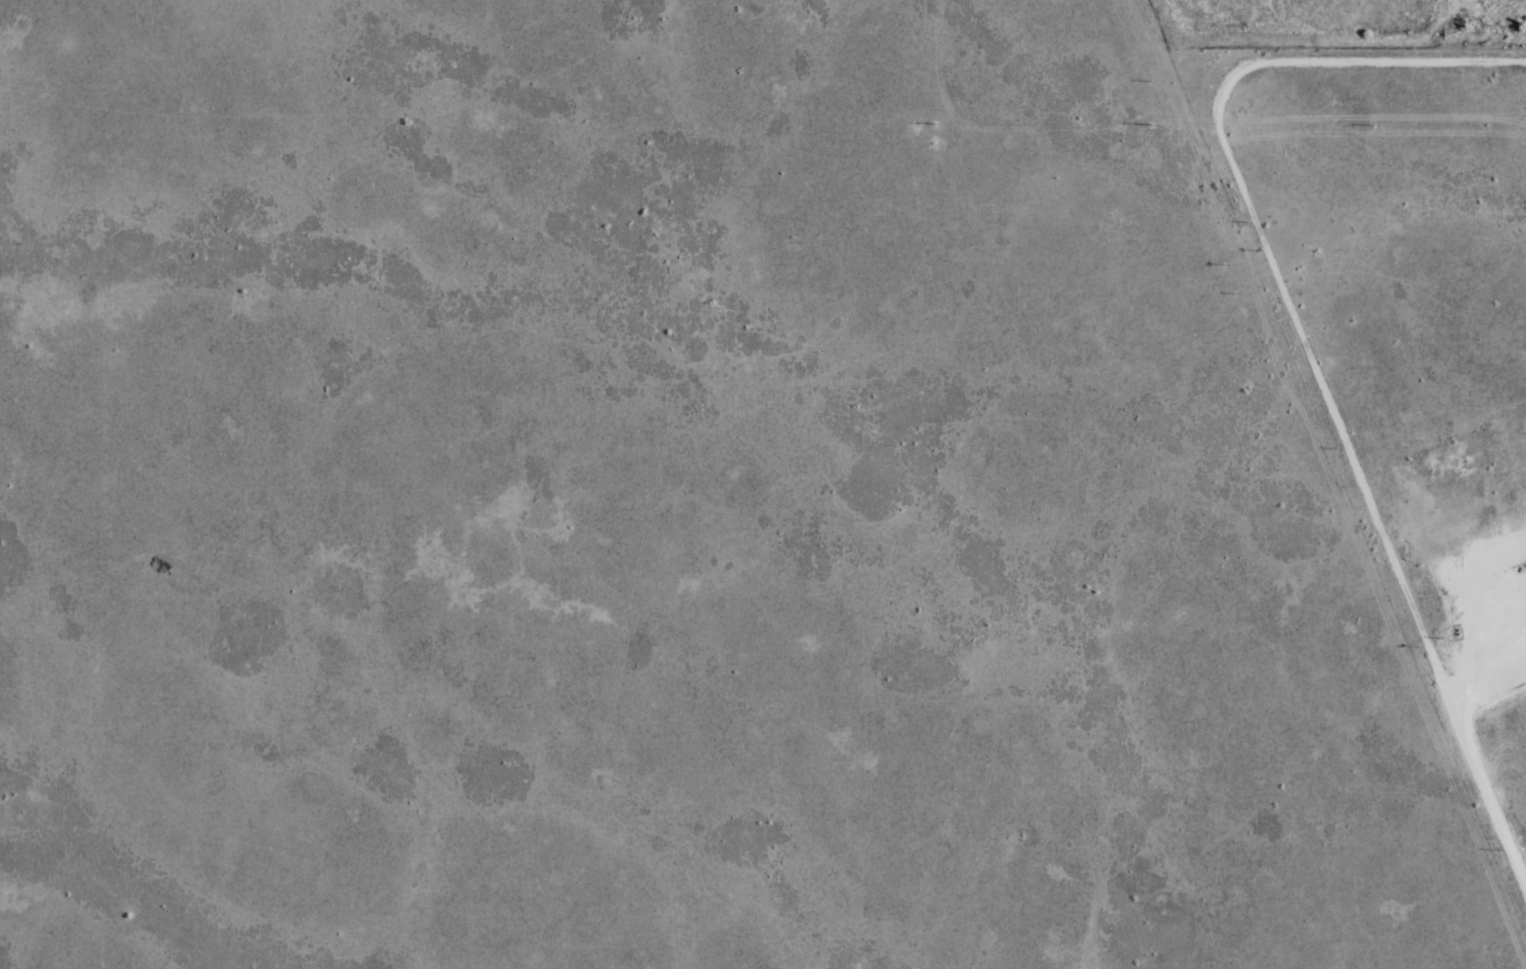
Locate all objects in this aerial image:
road: (1316, 336)

